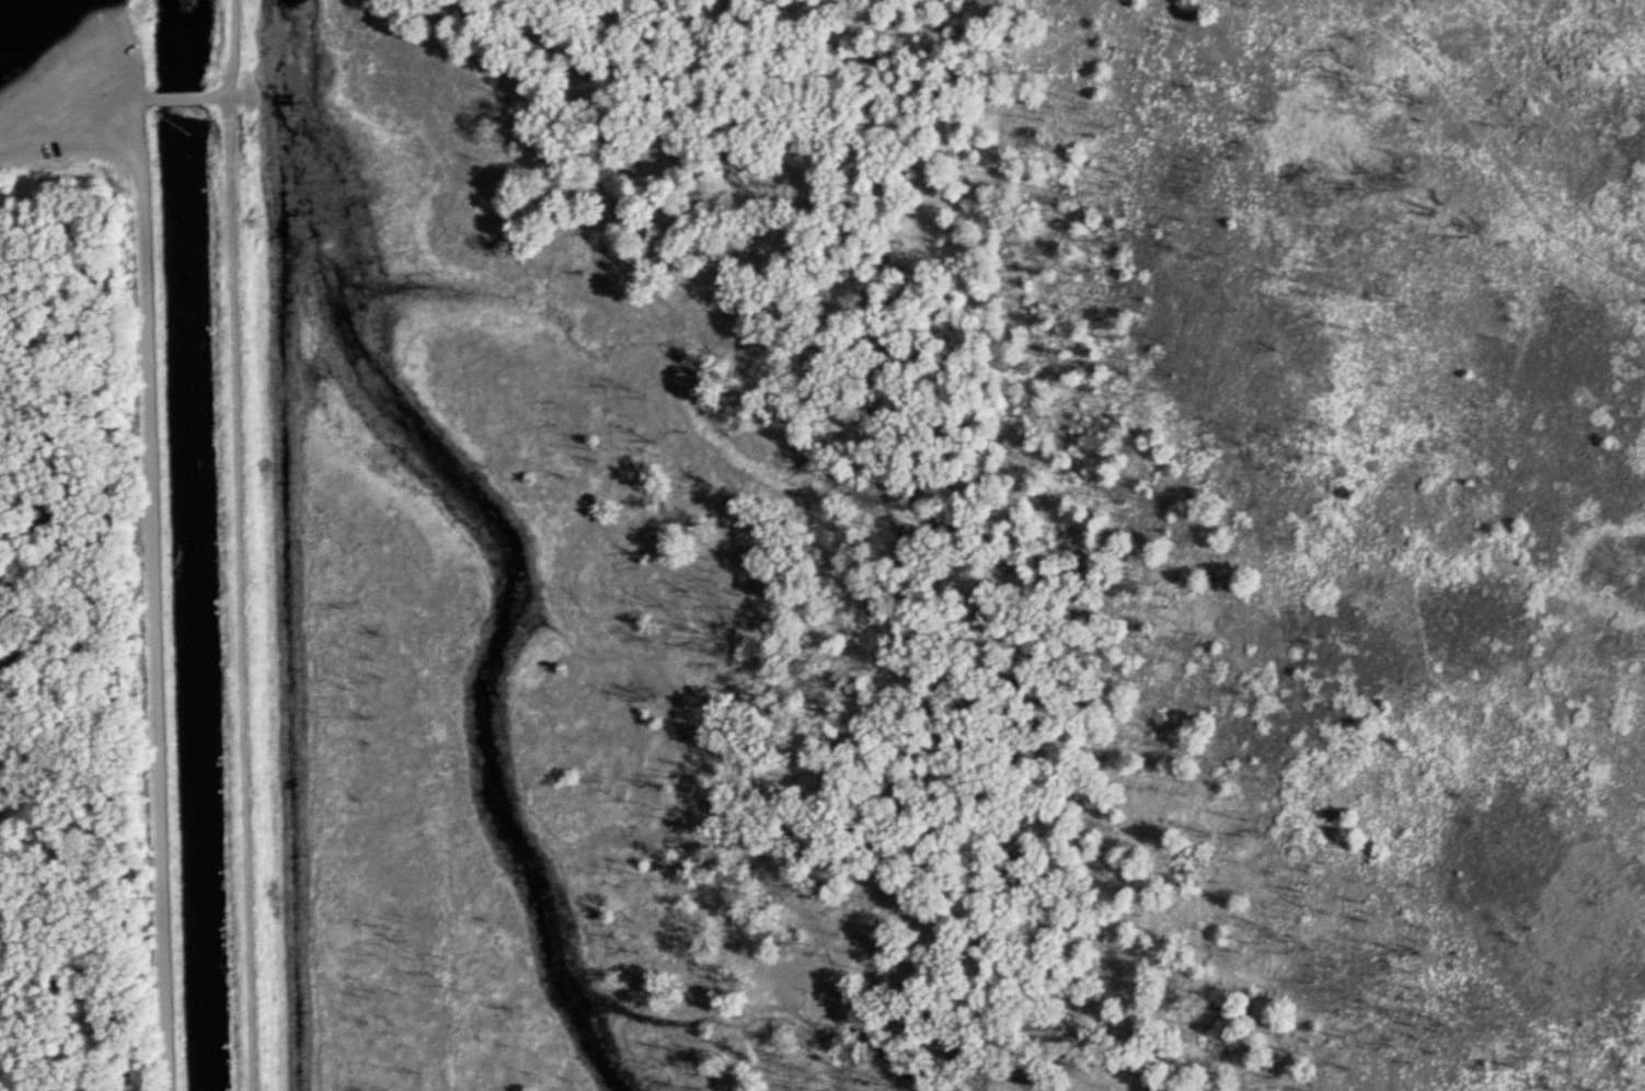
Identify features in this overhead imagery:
river: (10, 12)
road: (142, 544)

